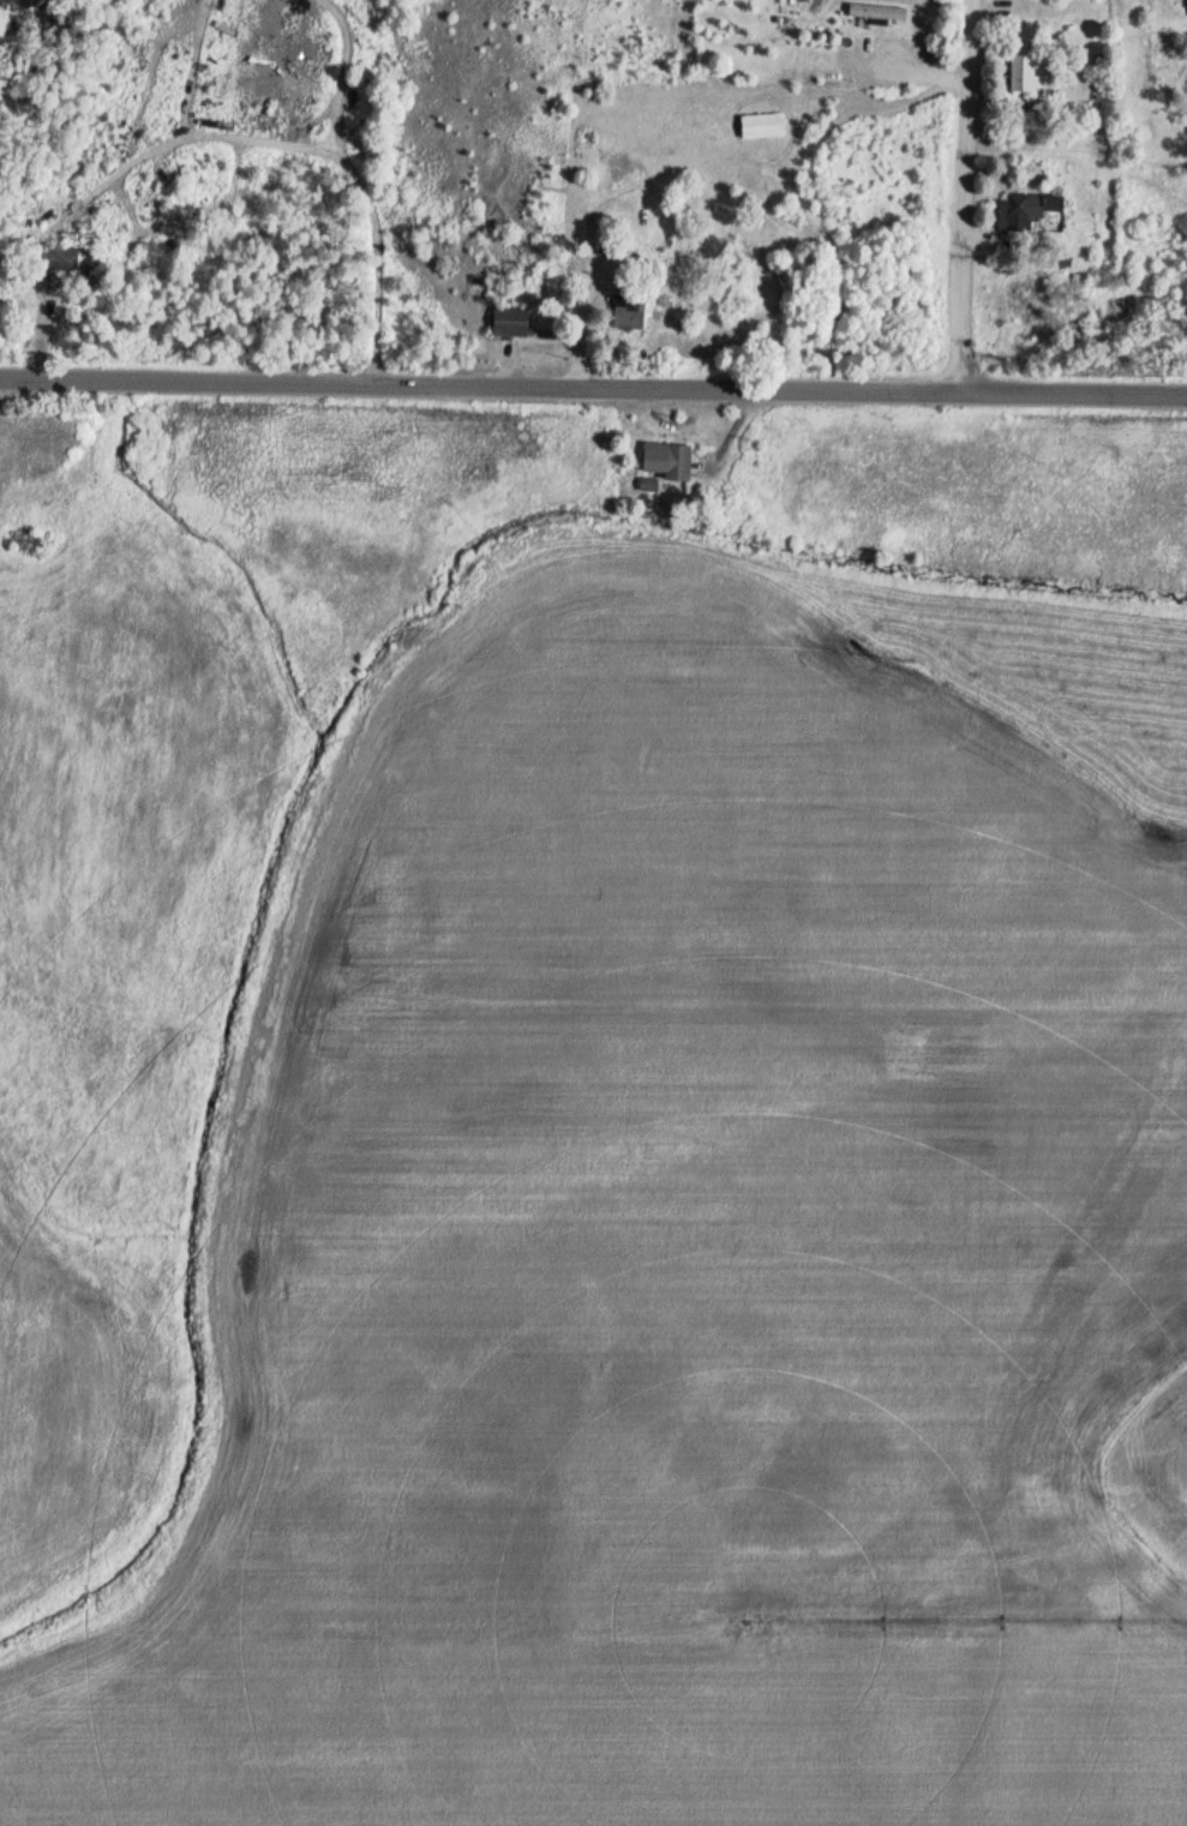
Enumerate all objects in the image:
building: (881, 13)
building: (1029, 73)
building: (766, 127)
road: (964, 194)
building: (1035, 211)
building: (68, 261)
building: (92, 263)
building: (631, 312)
building: (514, 322)
road: (593, 384)
building: (42, 441)
building: (673, 460)

